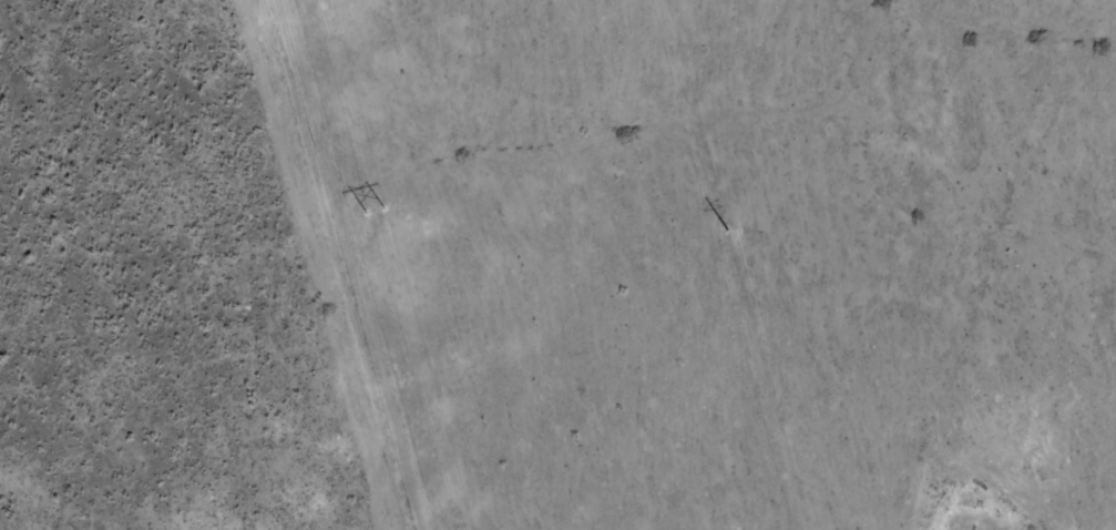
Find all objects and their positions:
power tower: (375, 210)
power tower: (727, 230)
road: (398, 263)

